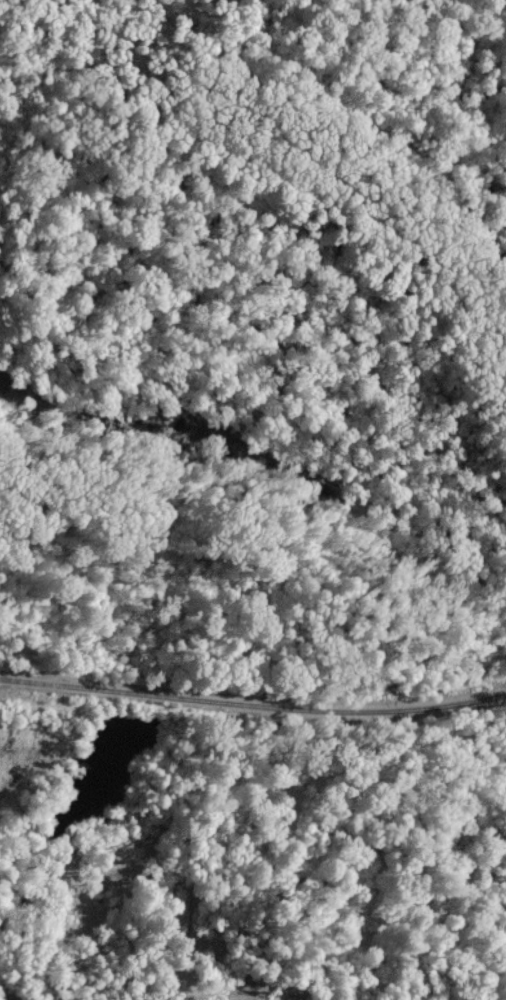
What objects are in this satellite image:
railway: (253, 705)

